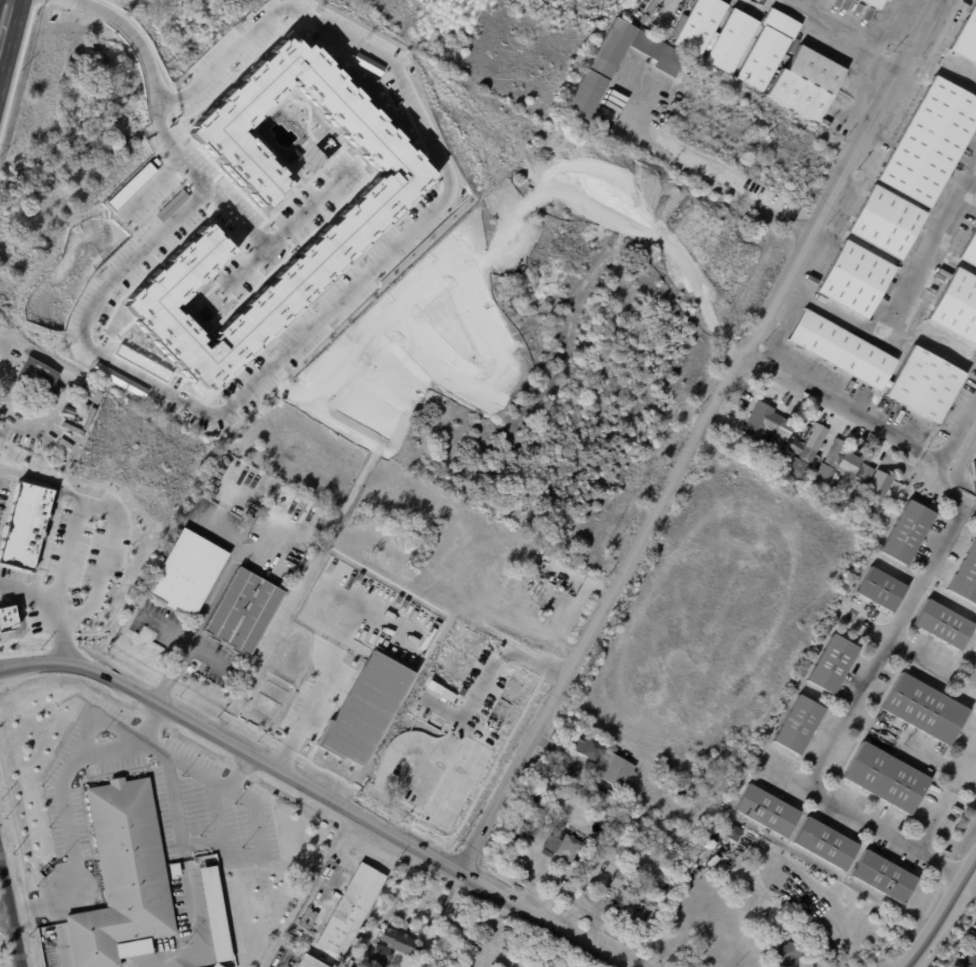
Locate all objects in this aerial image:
building: (887, 0)
building: (874, 3)
building: (699, 26)
road: (840, 33)
building: (967, 38)
building: (732, 42)
road: (138, 43)
road: (10, 46)
building: (768, 50)
building: (840, 55)
building: (601, 72)
building: (807, 83)
building: (329, 140)
building: (932, 141)
building: (294, 154)
road: (712, 177)
building: (130, 186)
building: (171, 204)
building: (888, 221)
road: (284, 231)
building: (970, 250)
road: (245, 270)
building: (856, 279)
road: (342, 305)
road: (900, 306)
building: (958, 306)
road: (38, 355)
building: (142, 361)
building: (883, 365)
building: (37, 377)
building: (118, 379)
building: (89, 393)
road: (842, 402)
building: (84, 408)
building: (768, 426)
road: (957, 426)
road: (691, 433)
building: (786, 457)
building: (825, 460)
building: (866, 472)
road: (43, 479)
building: (881, 483)
road: (107, 510)
building: (24, 526)
building: (907, 532)
building: (188, 575)
building: (966, 577)
building: (882, 590)
road: (52, 606)
building: (556, 608)
building: (244, 614)
road: (200, 619)
building: (944, 624)
building: (834, 664)
road: (489, 669)
road: (323, 681)
road: (856, 704)
building: (366, 707)
building: (926, 708)
building: (408, 717)
building: (426, 724)
building: (800, 725)
building: (402, 740)
road: (909, 741)
building: (607, 763)
building: (403, 771)
road: (238, 772)
building: (887, 778)
building: (378, 785)
building: (553, 788)
building: (682, 789)
road: (319, 793)
building: (606, 798)
road: (948, 801)
road: (63, 802)
building: (768, 812)
building: (521, 814)
building: (602, 815)
building: (522, 827)
building: (675, 828)
building: (563, 844)
building: (827, 844)
road: (254, 853)
building: (709, 856)
road: (344, 861)
building: (715, 861)
building: (595, 864)
road: (184, 865)
building: (175, 870)
building: (659, 872)
building: (884, 877)
building: (124, 878)
building: (582, 883)
building: (628, 884)
building: (825, 887)
building: (351, 909)
road: (941, 911)
road: (4, 914)
building: (216, 914)
building: (804, 918)
road: (827, 918)
road: (9, 921)
road: (56, 926)
road: (200, 942)
building: (392, 945)
building: (788, 954)
road: (62, 956)
road: (16, 959)
road: (973, 959)
road: (279, 961)
building: (305, 963)
building: (217, 965)
building: (420, 965)

